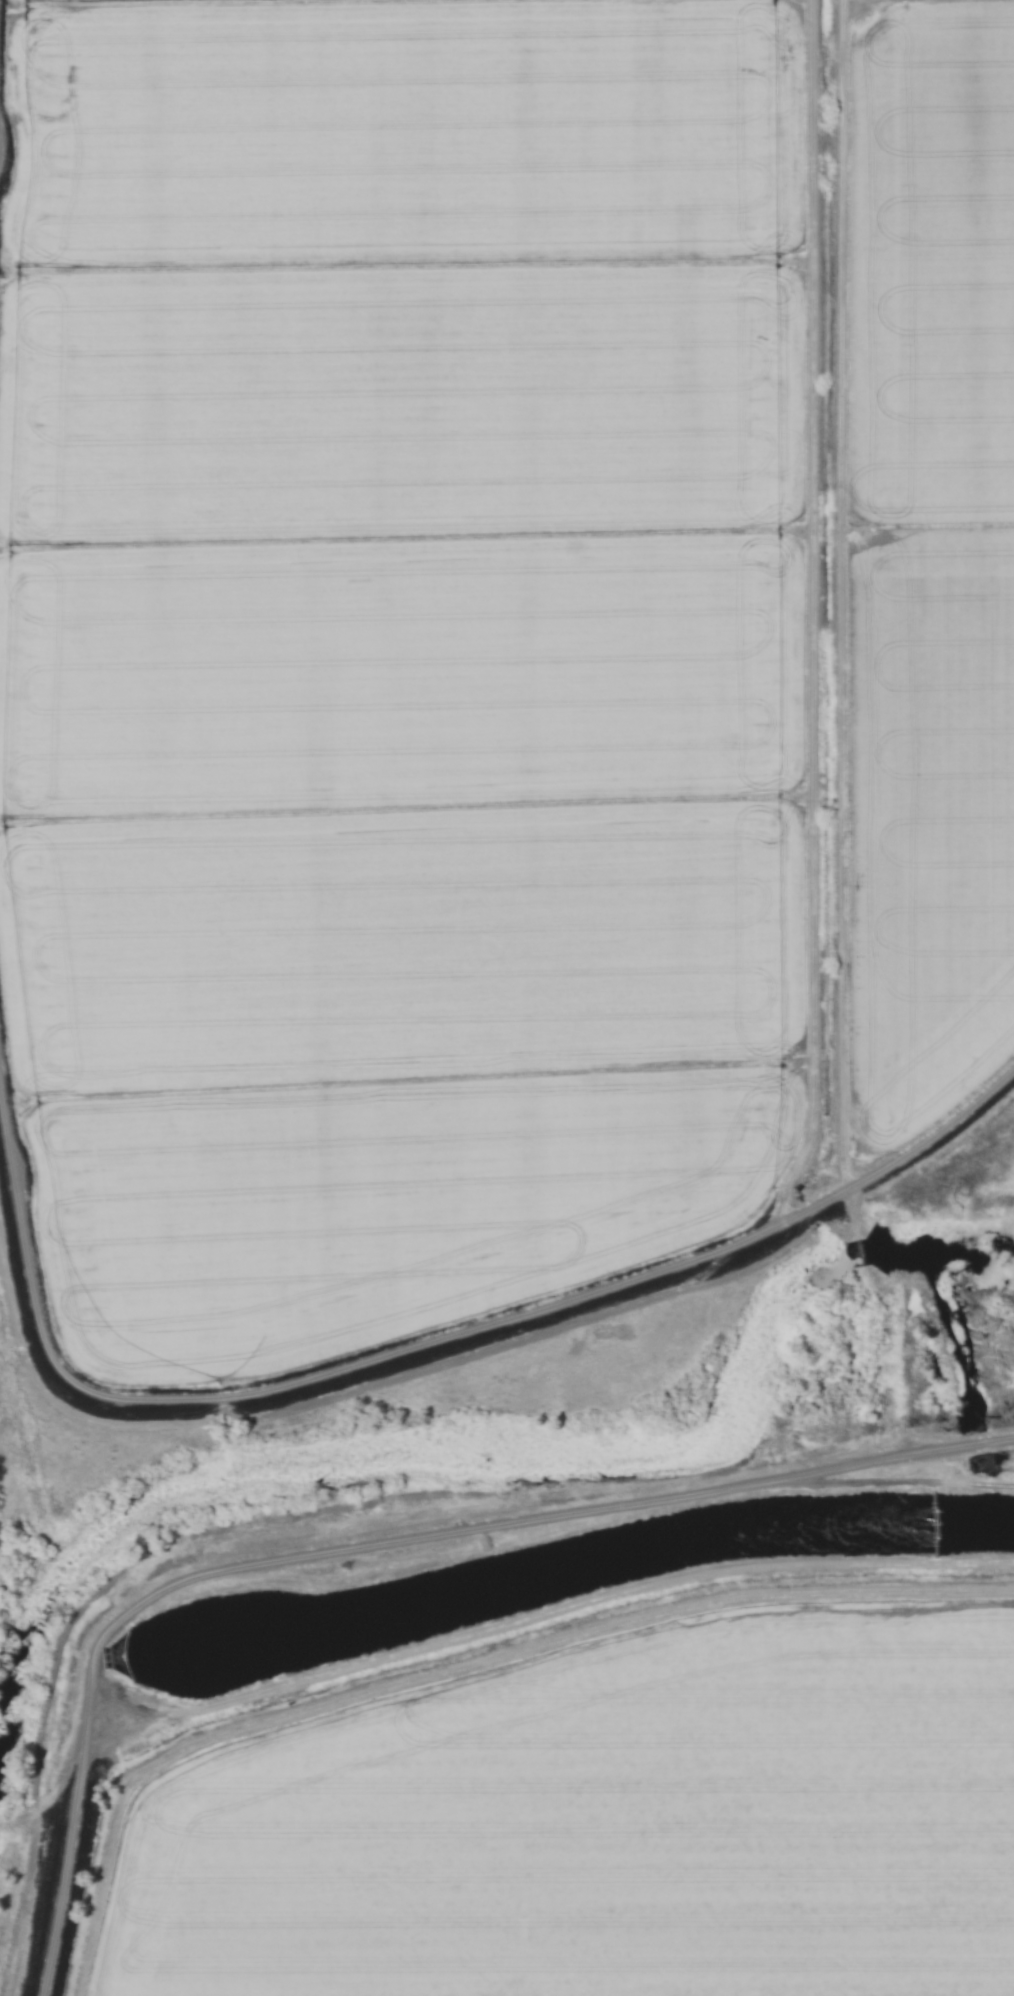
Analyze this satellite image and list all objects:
river: (983, 1525)

